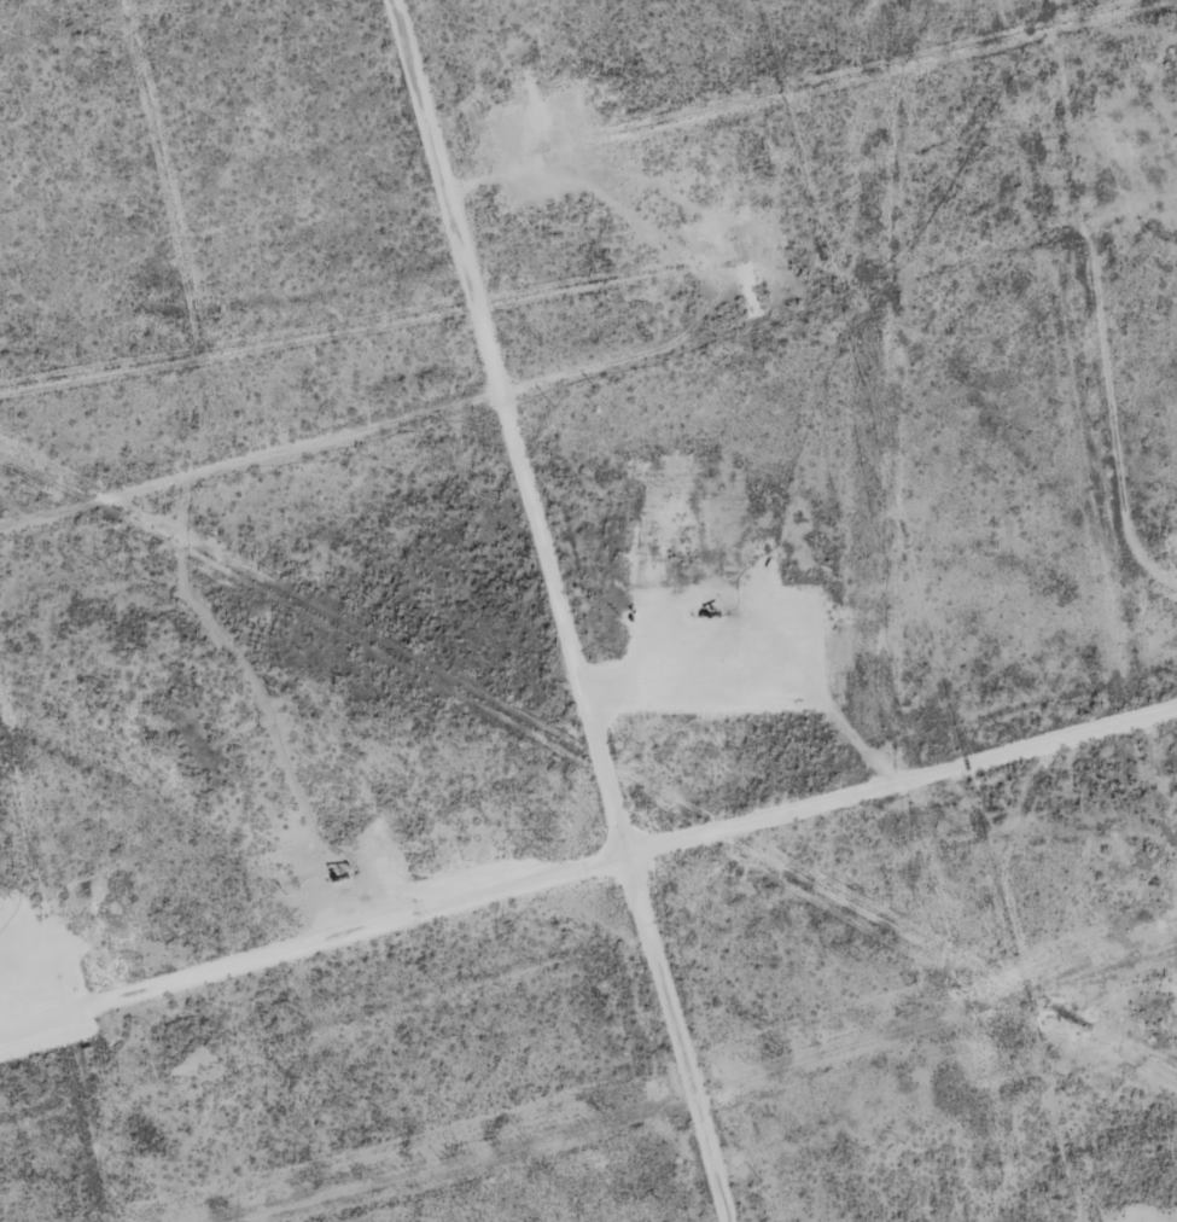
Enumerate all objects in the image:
road: (573, 611)
road: (589, 884)

